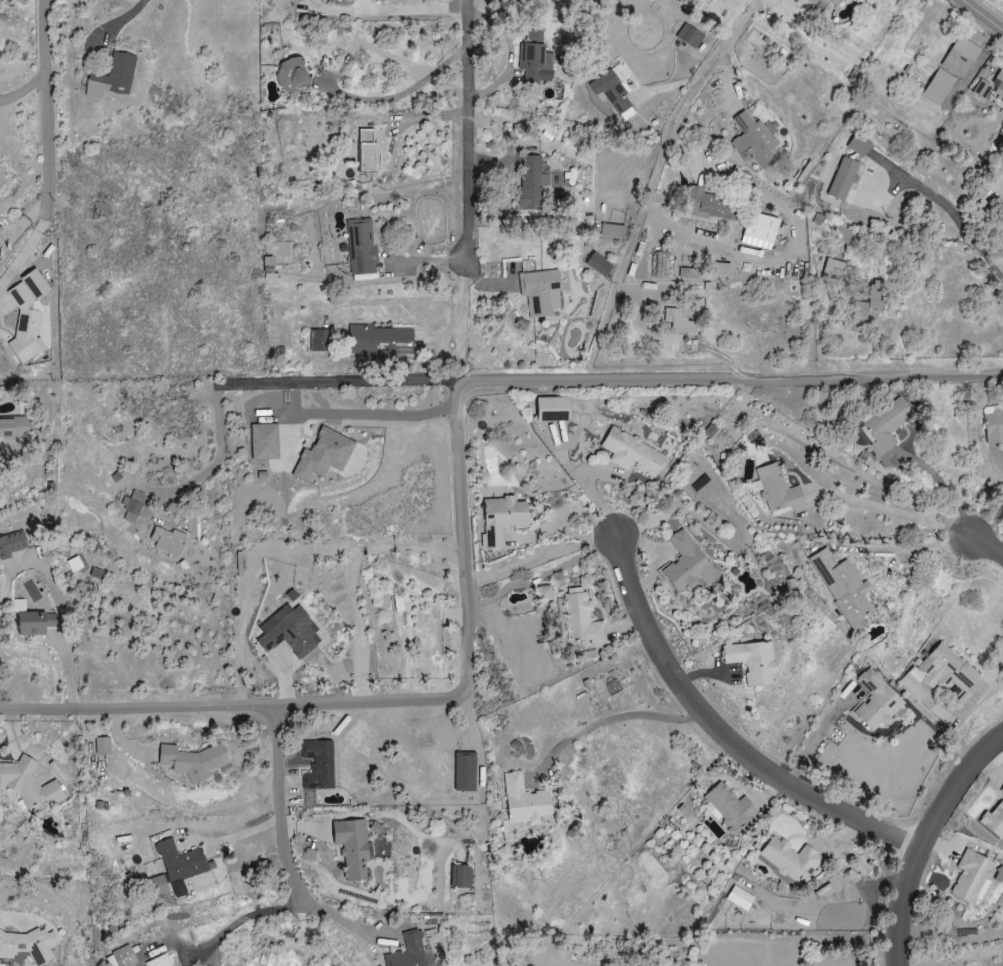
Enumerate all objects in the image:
building: (826, 7)
road: (390, 11)
road: (984, 14)
road: (117, 22)
building: (689, 37)
building: (960, 57)
building: (535, 60)
building: (117, 74)
building: (290, 76)
building: (998, 81)
building: (939, 86)
building: (982, 89)
road: (21, 90)
road: (345, 91)
building: (614, 91)
road: (695, 98)
road: (48, 100)
road: (464, 134)
building: (753, 140)
building: (858, 145)
building: (365, 150)
building: (842, 179)
building: (531, 183)
building: (704, 204)
road: (947, 206)
building: (610, 230)
building: (759, 231)
road: (914, 242)
road: (29, 247)
building: (361, 247)
building: (598, 264)
building: (267, 265)
road: (620, 265)
building: (721, 269)
building: (834, 269)
building: (513, 276)
building: (541, 292)
road: (382, 300)
building: (870, 305)
building: (26, 316)
road: (458, 317)
building: (678, 322)
building: (319, 339)
building: (380, 340)
road: (272, 383)
building: (551, 409)
road: (390, 416)
building: (994, 423)
building: (886, 425)
building: (265, 441)
building: (633, 452)
building: (323, 454)
building: (778, 489)
building: (134, 506)
road: (460, 506)
road: (889, 510)
building: (503, 520)
building: (166, 539)
road: (986, 542)
building: (13, 543)
building: (686, 563)
road: (352, 576)
building: (843, 587)
building: (544, 591)
building: (581, 616)
building: (30, 620)
building: (289, 630)
building: (752, 660)
building: (945, 669)
road: (989, 679)
building: (877, 701)
road: (717, 732)
road: (814, 744)
building: (102, 745)
building: (192, 761)
building: (318, 764)
building: (465, 770)
building: (28, 782)
building: (1002, 790)
building: (525, 800)
building: (728, 806)
building: (994, 820)
road: (238, 837)
road: (922, 839)
road: (285, 846)
building: (351, 847)
building: (503, 853)
building: (789, 858)
building: (179, 865)
building: (461, 876)
building: (972, 877)
building: (156, 886)
building: (739, 898)
road: (252, 916)
road: (7, 918)
road: (355, 921)
building: (28, 944)
building: (408, 952)
building: (121, 957)
building: (17, 960)
building: (159, 961)
building: (336, 965)

